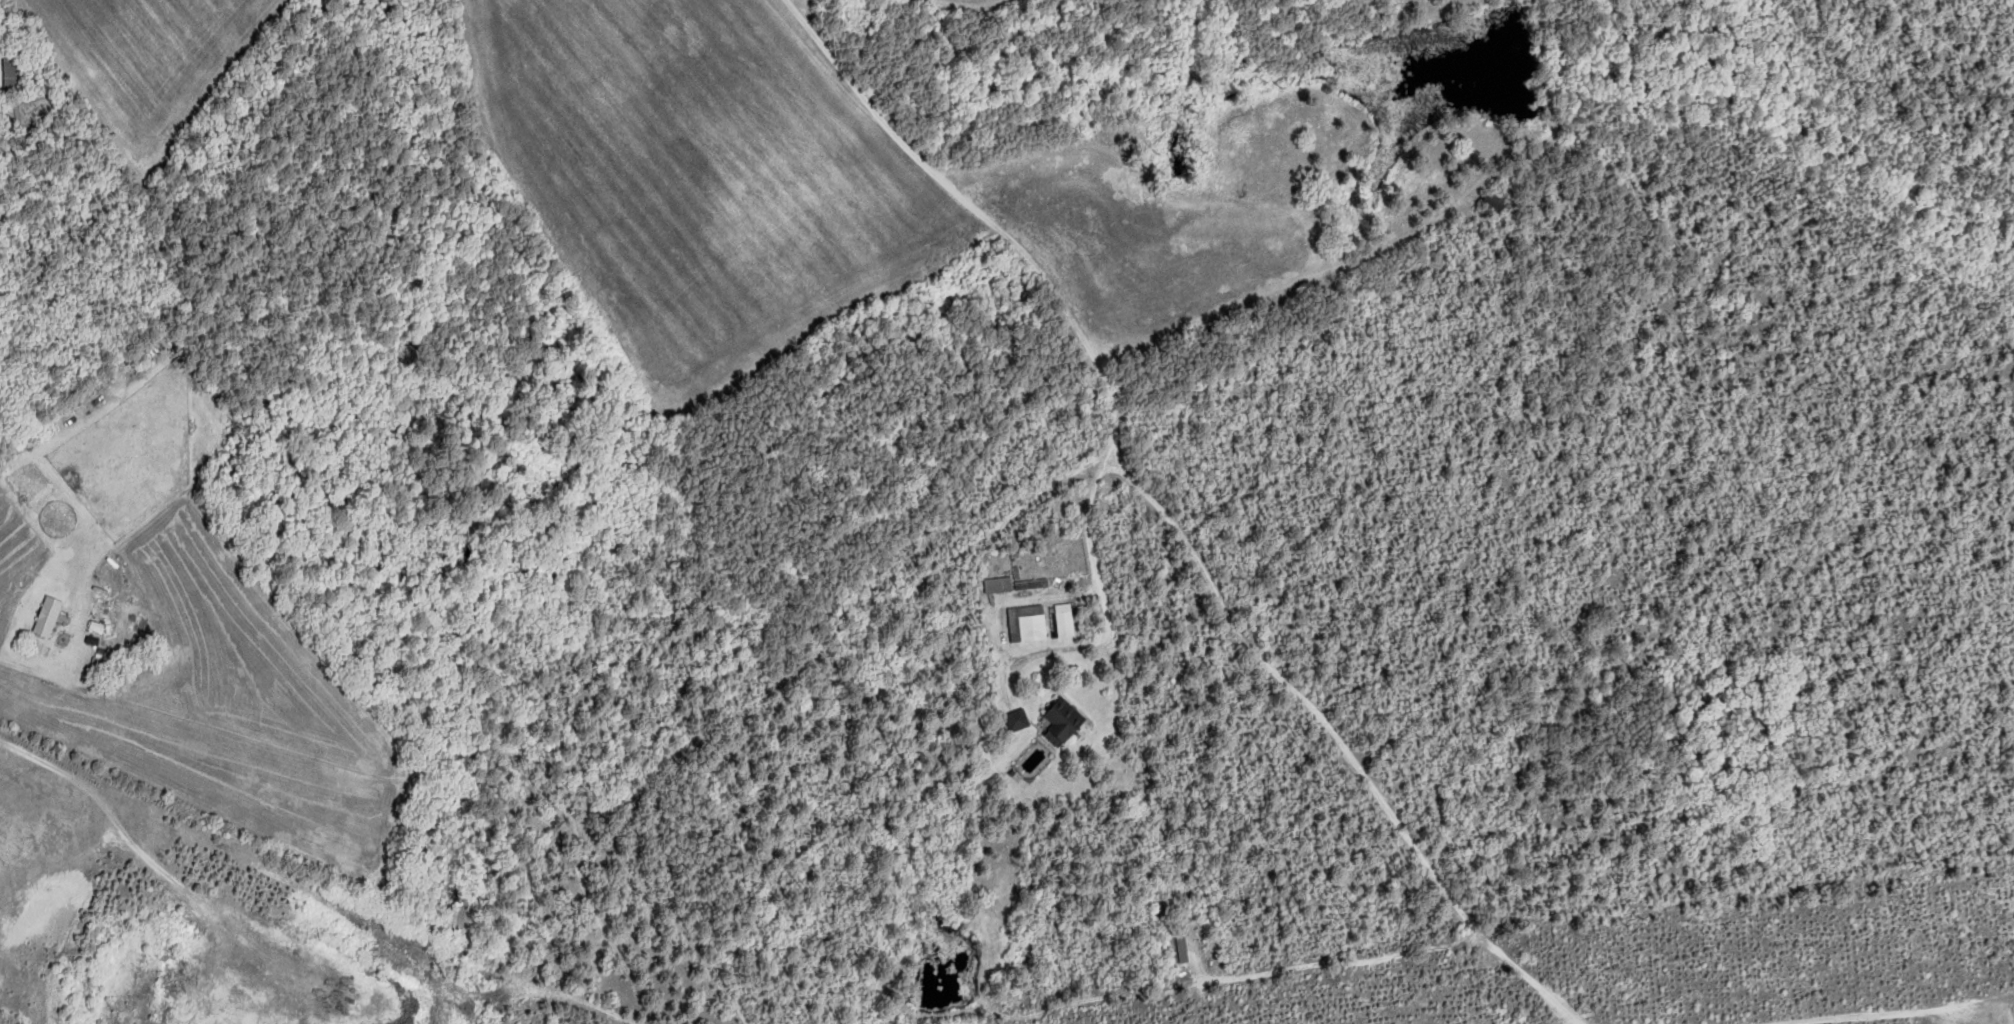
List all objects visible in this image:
building: (9, 71)
road: (1045, 276)
building: (999, 583)
road: (904, 590)
building: (47, 614)
building: (1064, 618)
building: (1032, 621)
road: (9, 658)
building: (1016, 717)
building: (1064, 717)

